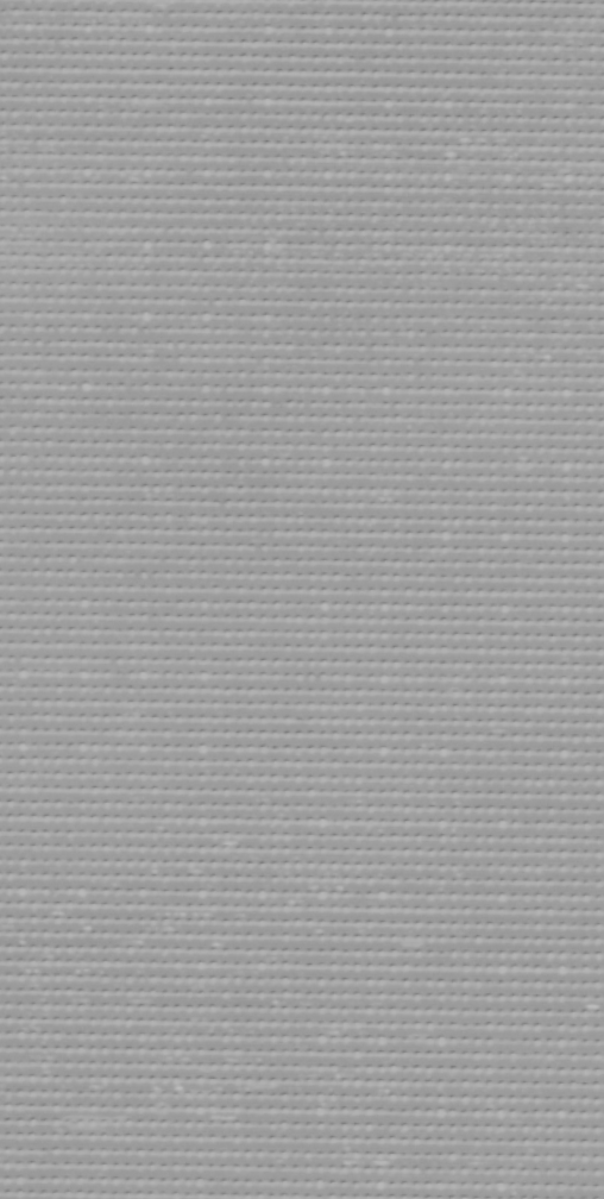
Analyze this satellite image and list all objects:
crop: (302, 599)

